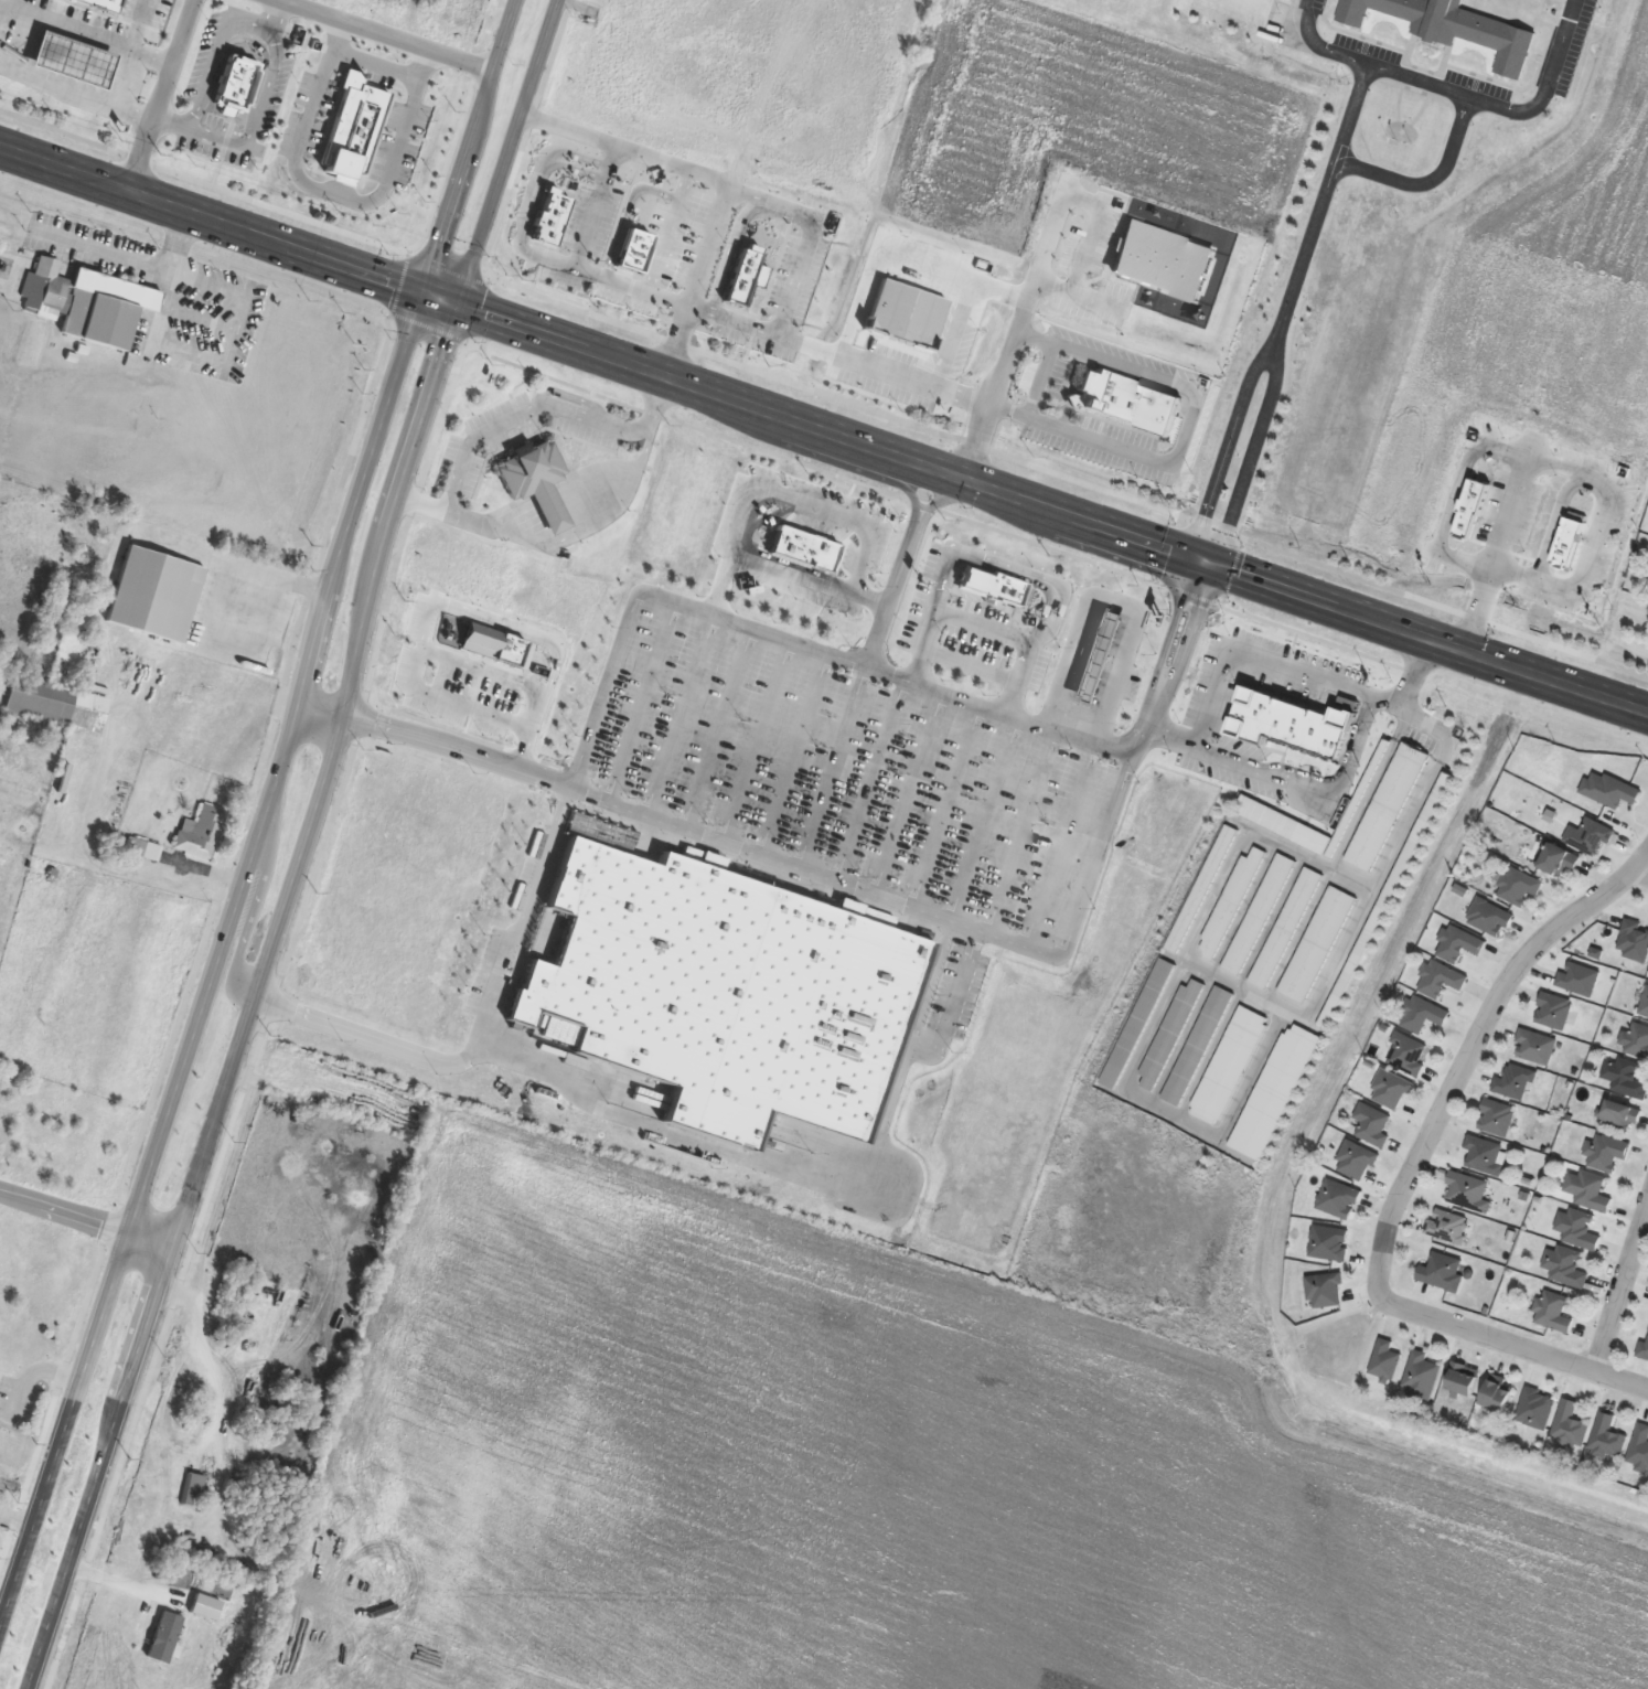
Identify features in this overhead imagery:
road: (270, 12)
building: (1454, 26)
road: (85, 32)
road: (385, 36)
road: (212, 53)
road: (374, 63)
road: (1378, 70)
road: (1560, 90)
road: (160, 93)
road: (74, 95)
road: (255, 113)
road: (1363, 117)
road: (170, 119)
road: (472, 145)
road: (509, 151)
road: (1342, 180)
road: (331, 193)
road: (211, 215)
road: (181, 239)
road: (140, 260)
road: (694, 281)
road: (224, 286)
road: (788, 289)
traffic signals: (424, 290)
road: (1082, 290)
traffic signals: (460, 303)
building: (106, 311)
road: (199, 317)
road: (1017, 339)
road: (207, 357)
road: (923, 382)
road: (823, 394)
road: (652, 400)
road: (517, 415)
road: (1186, 429)
road: (645, 434)
road: (1513, 452)
building: (534, 481)
road: (1035, 499)
road: (613, 507)
building: (1470, 514)
road: (1555, 520)
road: (469, 521)
building: (121, 539)
road: (1222, 541)
building: (1570, 544)
road: (1213, 552)
building: (812, 556)
road: (233, 562)
traffic signals: (1205, 562)
road: (1004, 568)
road: (721, 575)
road: (1195, 584)
building: (1004, 595)
road: (1113, 602)
road: (214, 605)
road: (877, 631)
road: (1166, 634)
building: (480, 639)
road: (1183, 642)
road: (612, 651)
road: (441, 659)
road: (1277, 662)
building: (57, 705)
road: (322, 708)
road: (1145, 714)
building: (1298, 727)
road: (457, 746)
parking lot: (857, 771)
building: (1609, 790)
building: (1387, 808)
building: (1282, 825)
building: (201, 833)
building: (1590, 836)
road: (309, 837)
building: (143, 848)
road: (769, 858)
building: (1558, 860)
road: (1640, 873)
building: (1518, 887)
building: (1201, 889)
road: (239, 898)
road: (1079, 899)
building: (1230, 905)
building: (1258, 916)
road: (246, 918)
building: (1489, 918)
building: (1285, 929)
building: (1634, 942)
building: (1317, 945)
building: (1459, 945)
building: (1579, 979)
building: (1441, 980)
building: (720, 992)
building: (1645, 1005)
building: (1553, 1012)
building: (1423, 1016)
road: (366, 1035)
building: (1638, 1041)
building: (1537, 1047)
road: (1470, 1050)
building: (1408, 1055)
building: (1625, 1079)
building: (1516, 1082)
building: (1391, 1090)
building: (1619, 1118)
building: (1497, 1119)
building: (1372, 1125)
road: (675, 1132)
building: (1607, 1153)
building: (1486, 1156)
building: (1356, 1162)
building: (1588, 1191)
building: (1468, 1193)
building: (1338, 1200)
road: (63, 1212)
building: (1447, 1227)
building: (1577, 1230)
road: (150, 1242)
building: (1329, 1244)
building: (1566, 1268)
building: (1442, 1273)
road: (1620, 1287)
building: (1325, 1291)
park: (42, 1311)
building: (1553, 1313)
road: (1511, 1344)
building: (1645, 1348)
building: (1384, 1361)
building: (1420, 1377)
building: (1462, 1380)
building: (1496, 1398)
building: (1535, 1409)
building: (1570, 1426)
building: (1607, 1439)
building: (1639, 1447)
building: (195, 1492)
building: (138, 1519)
road: (83, 1527)
road: (19, 1557)
building: (210, 1562)
road: (116, 1581)

